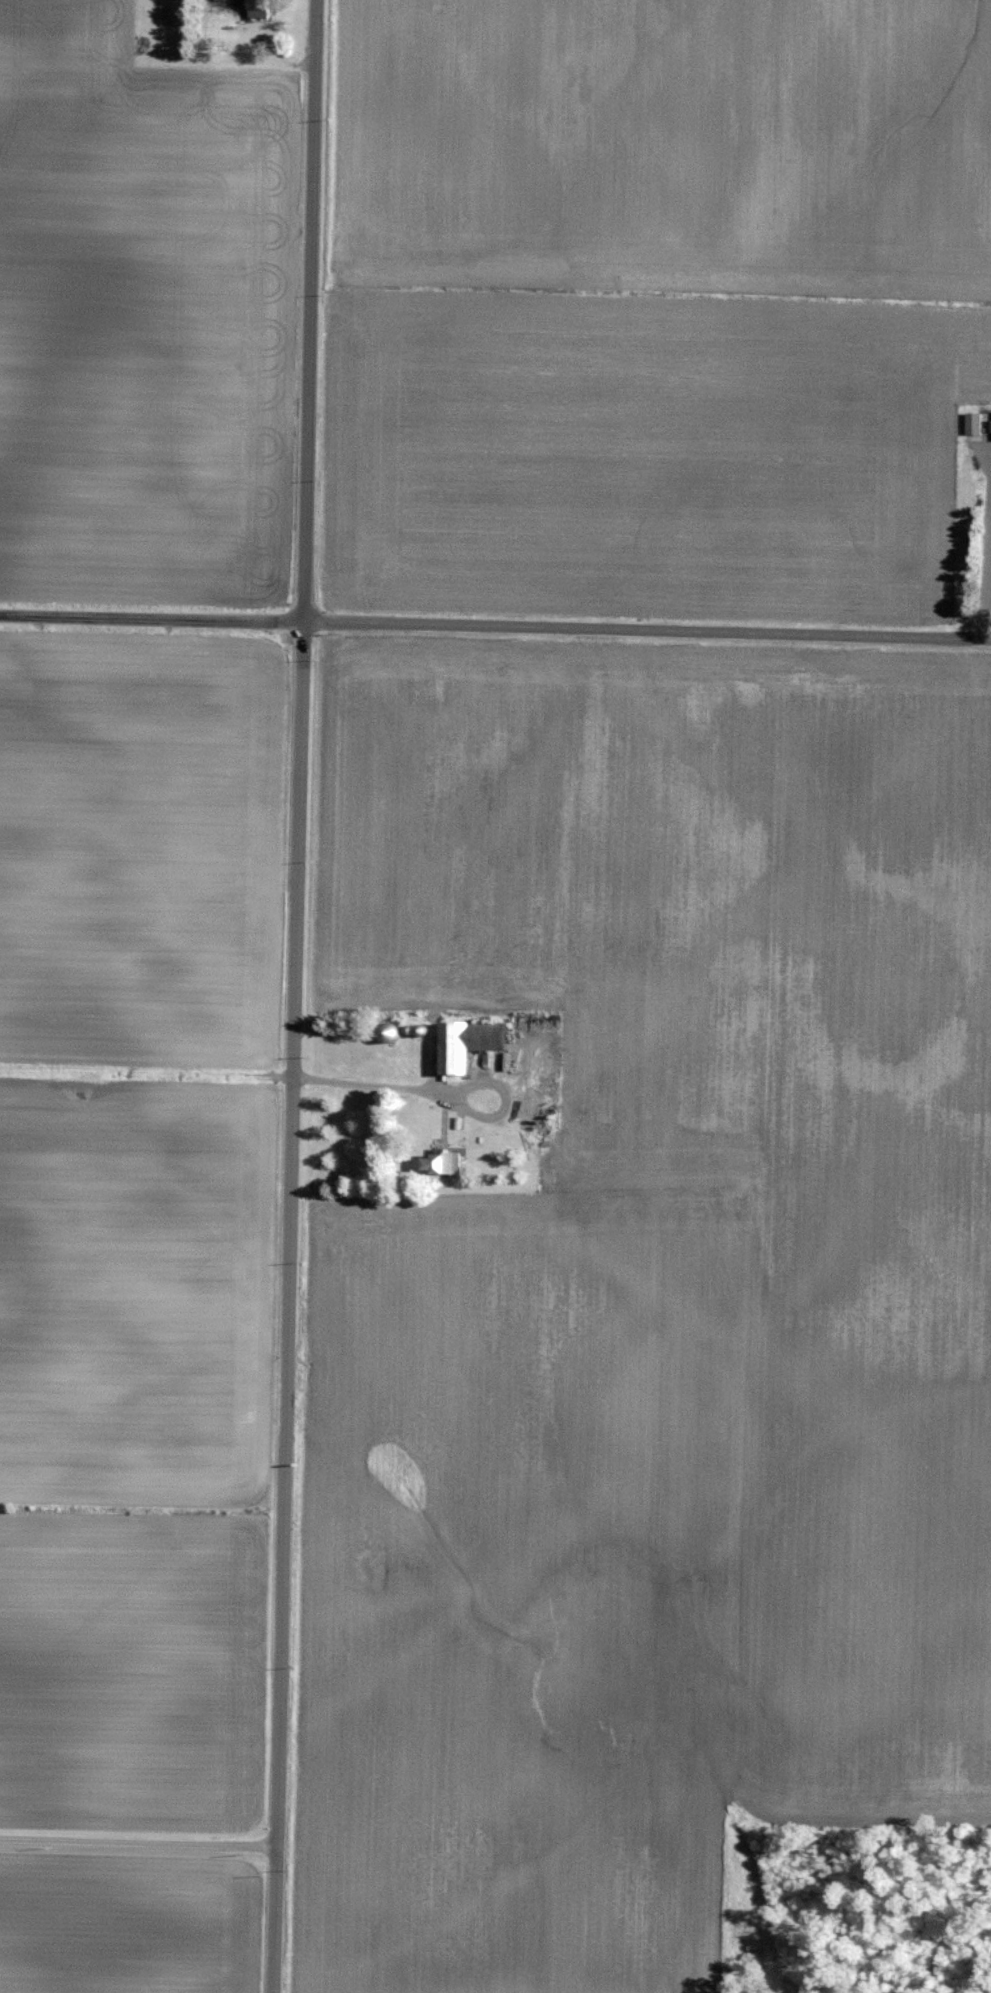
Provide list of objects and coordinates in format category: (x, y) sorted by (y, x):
building: (976, 421)
road: (150, 617)
road: (646, 629)
road: (292, 996)
building: (475, 1040)
road: (145, 1073)
road: (388, 1090)
road: (487, 1120)
building: (448, 1161)
road: (137, 1845)

